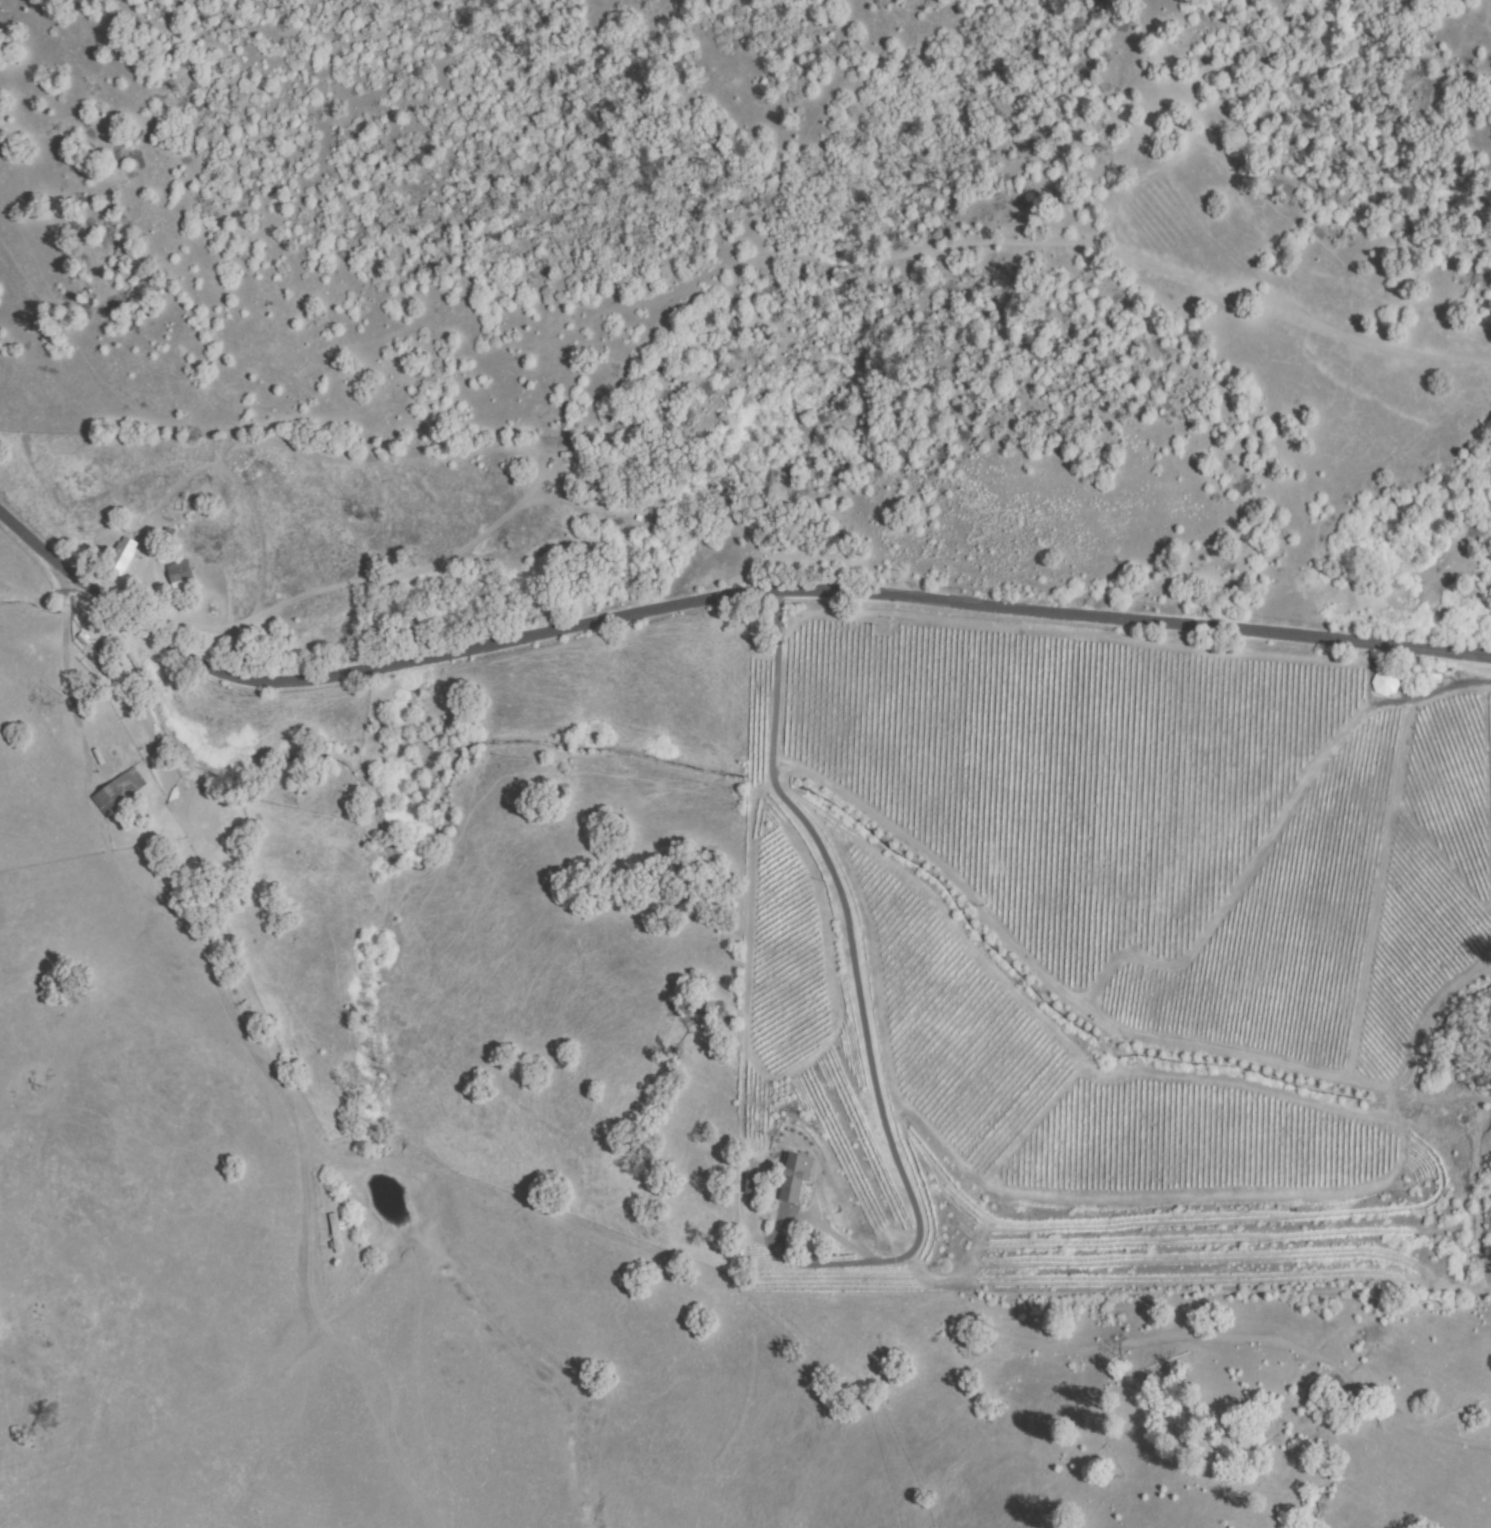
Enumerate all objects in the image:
building: (567, 457)
building: (120, 557)
building: (181, 576)
road: (714, 598)
building: (89, 668)
building: (45, 691)
building: (37, 703)
building: (115, 793)
road: (197, 924)
building: (794, 1177)
building: (752, 1188)
building: (337, 1235)

